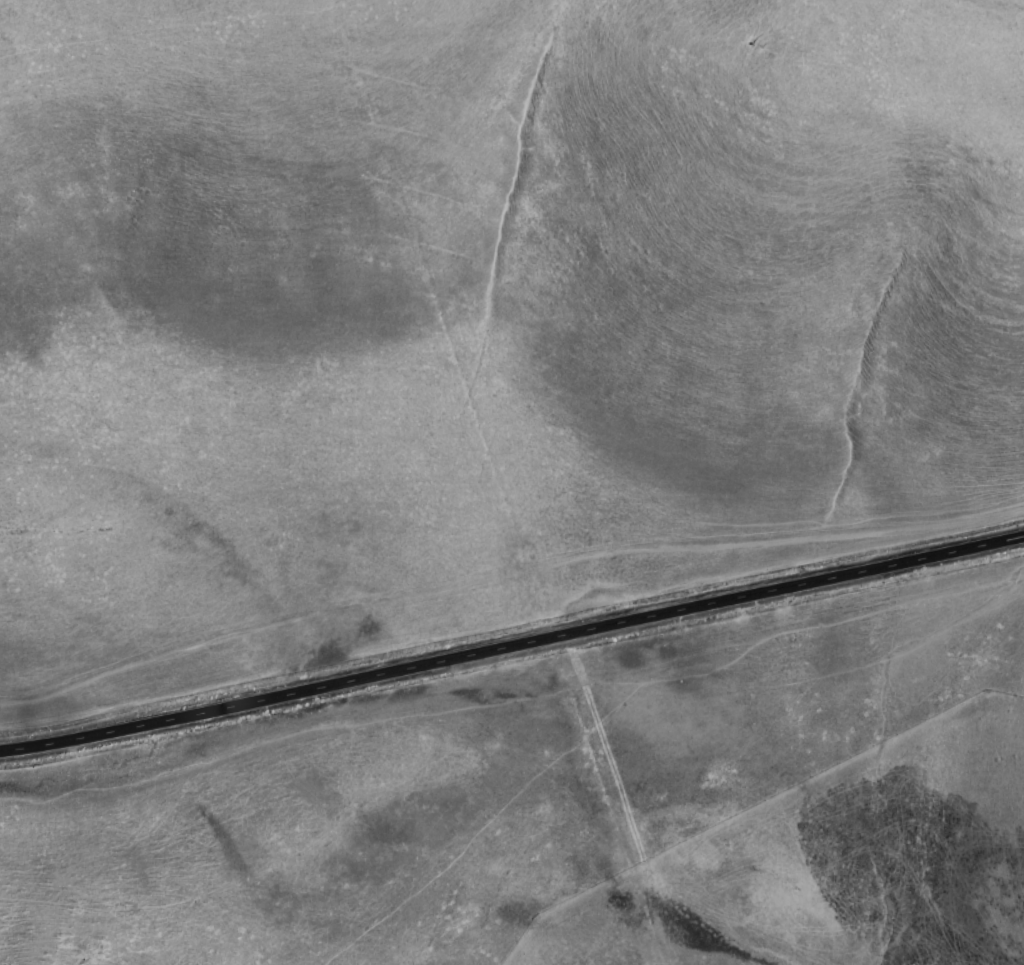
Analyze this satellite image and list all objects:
park: (483, 448)
road: (512, 647)

